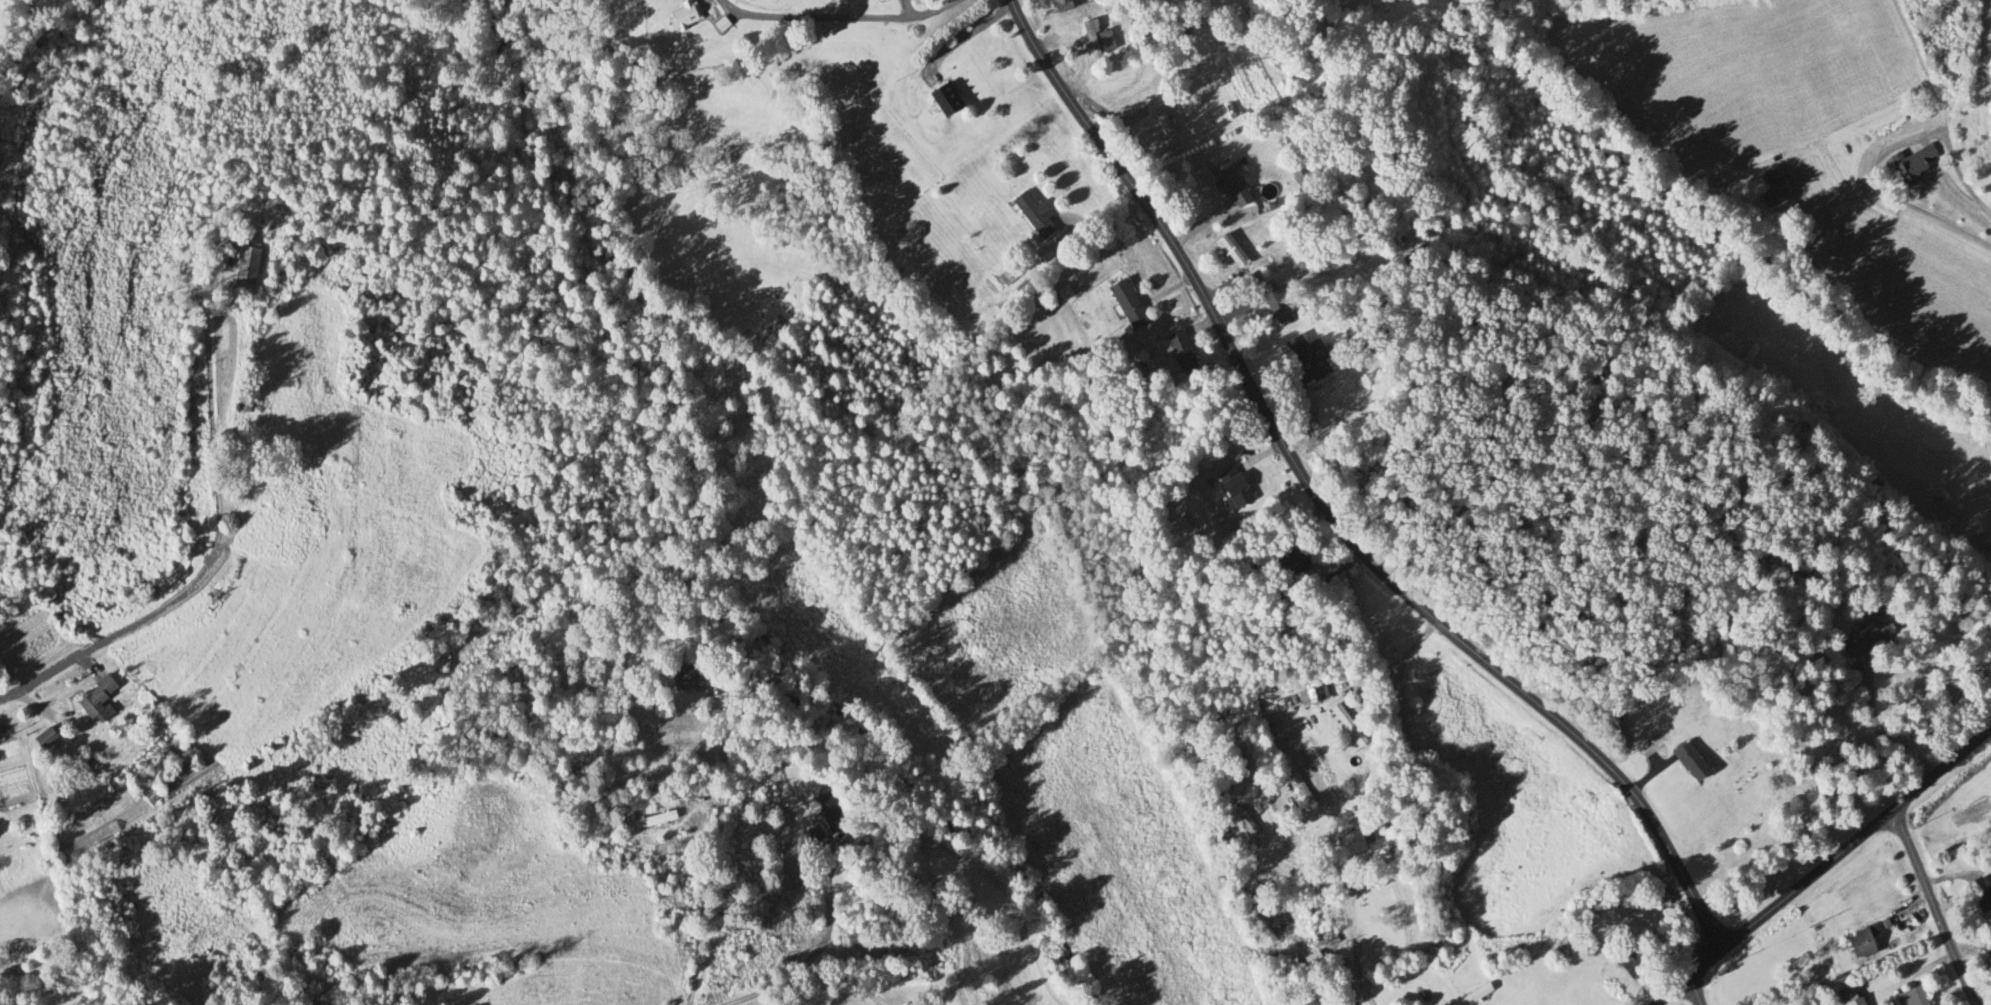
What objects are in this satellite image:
building: (1060, 5)
building: (681, 15)
road: (832, 18)
building: (719, 25)
building: (1312, 33)
building: (1095, 40)
building: (943, 99)
building: (1209, 108)
building: (1912, 164)
road: (1958, 176)
building: (1228, 184)
building: (1772, 192)
building: (1032, 215)
road: (1197, 225)
building: (1230, 252)
building: (1414, 257)
building: (243, 264)
building: (1123, 300)
building: (1275, 304)
building: (1178, 351)
building: (1299, 354)
road: (206, 390)
building: (242, 406)
building: (1305, 419)
building: (1231, 488)
road: (1321, 509)
building: (1288, 560)
road: (113, 630)
building: (1866, 637)
road: (1398, 658)
building: (684, 678)
building: (1314, 694)
building: (94, 701)
building: (1346, 726)
building: (1688, 763)
building: (1299, 789)
building: (827, 814)
building: (1244, 818)
building: (651, 821)
building: (1355, 842)
road: (691, 856)
road: (1823, 864)
building: (1655, 900)
building: (1983, 902)
road: (1931, 908)
building: (1859, 945)
road: (1353, 951)
road: (787, 960)
building: (1311, 961)
building: (1629, 964)
building: (1988, 966)
building: (1344, 992)
road: (1691, 992)
building: (1911, 997)
building: (1850, 999)

